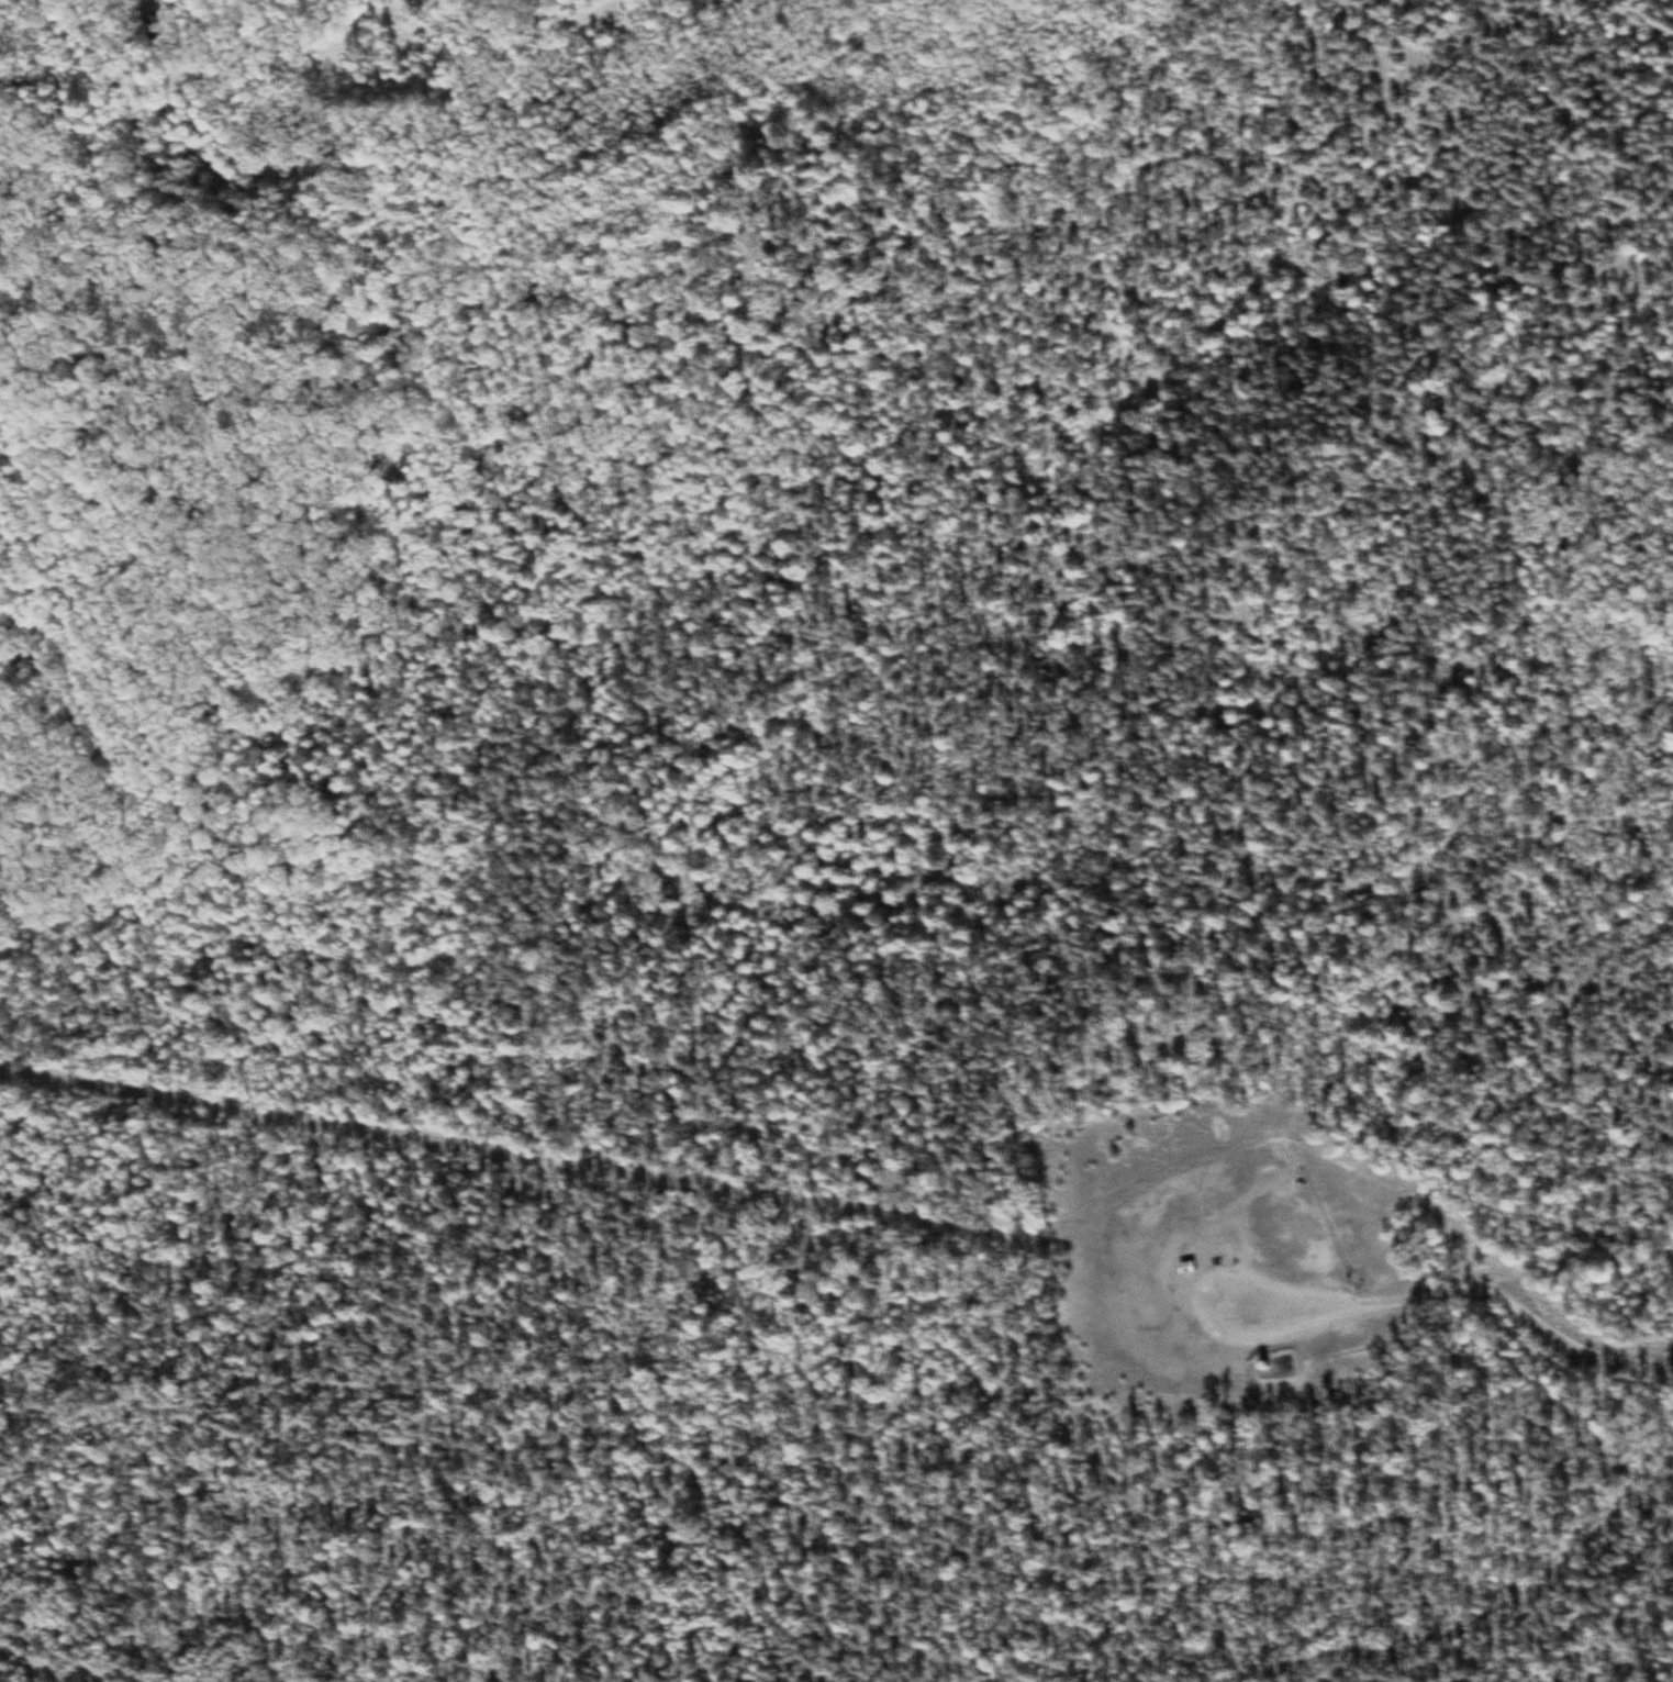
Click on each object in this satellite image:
building: (1294, 1166)
road: (1494, 1294)
road: (1470, 1626)

